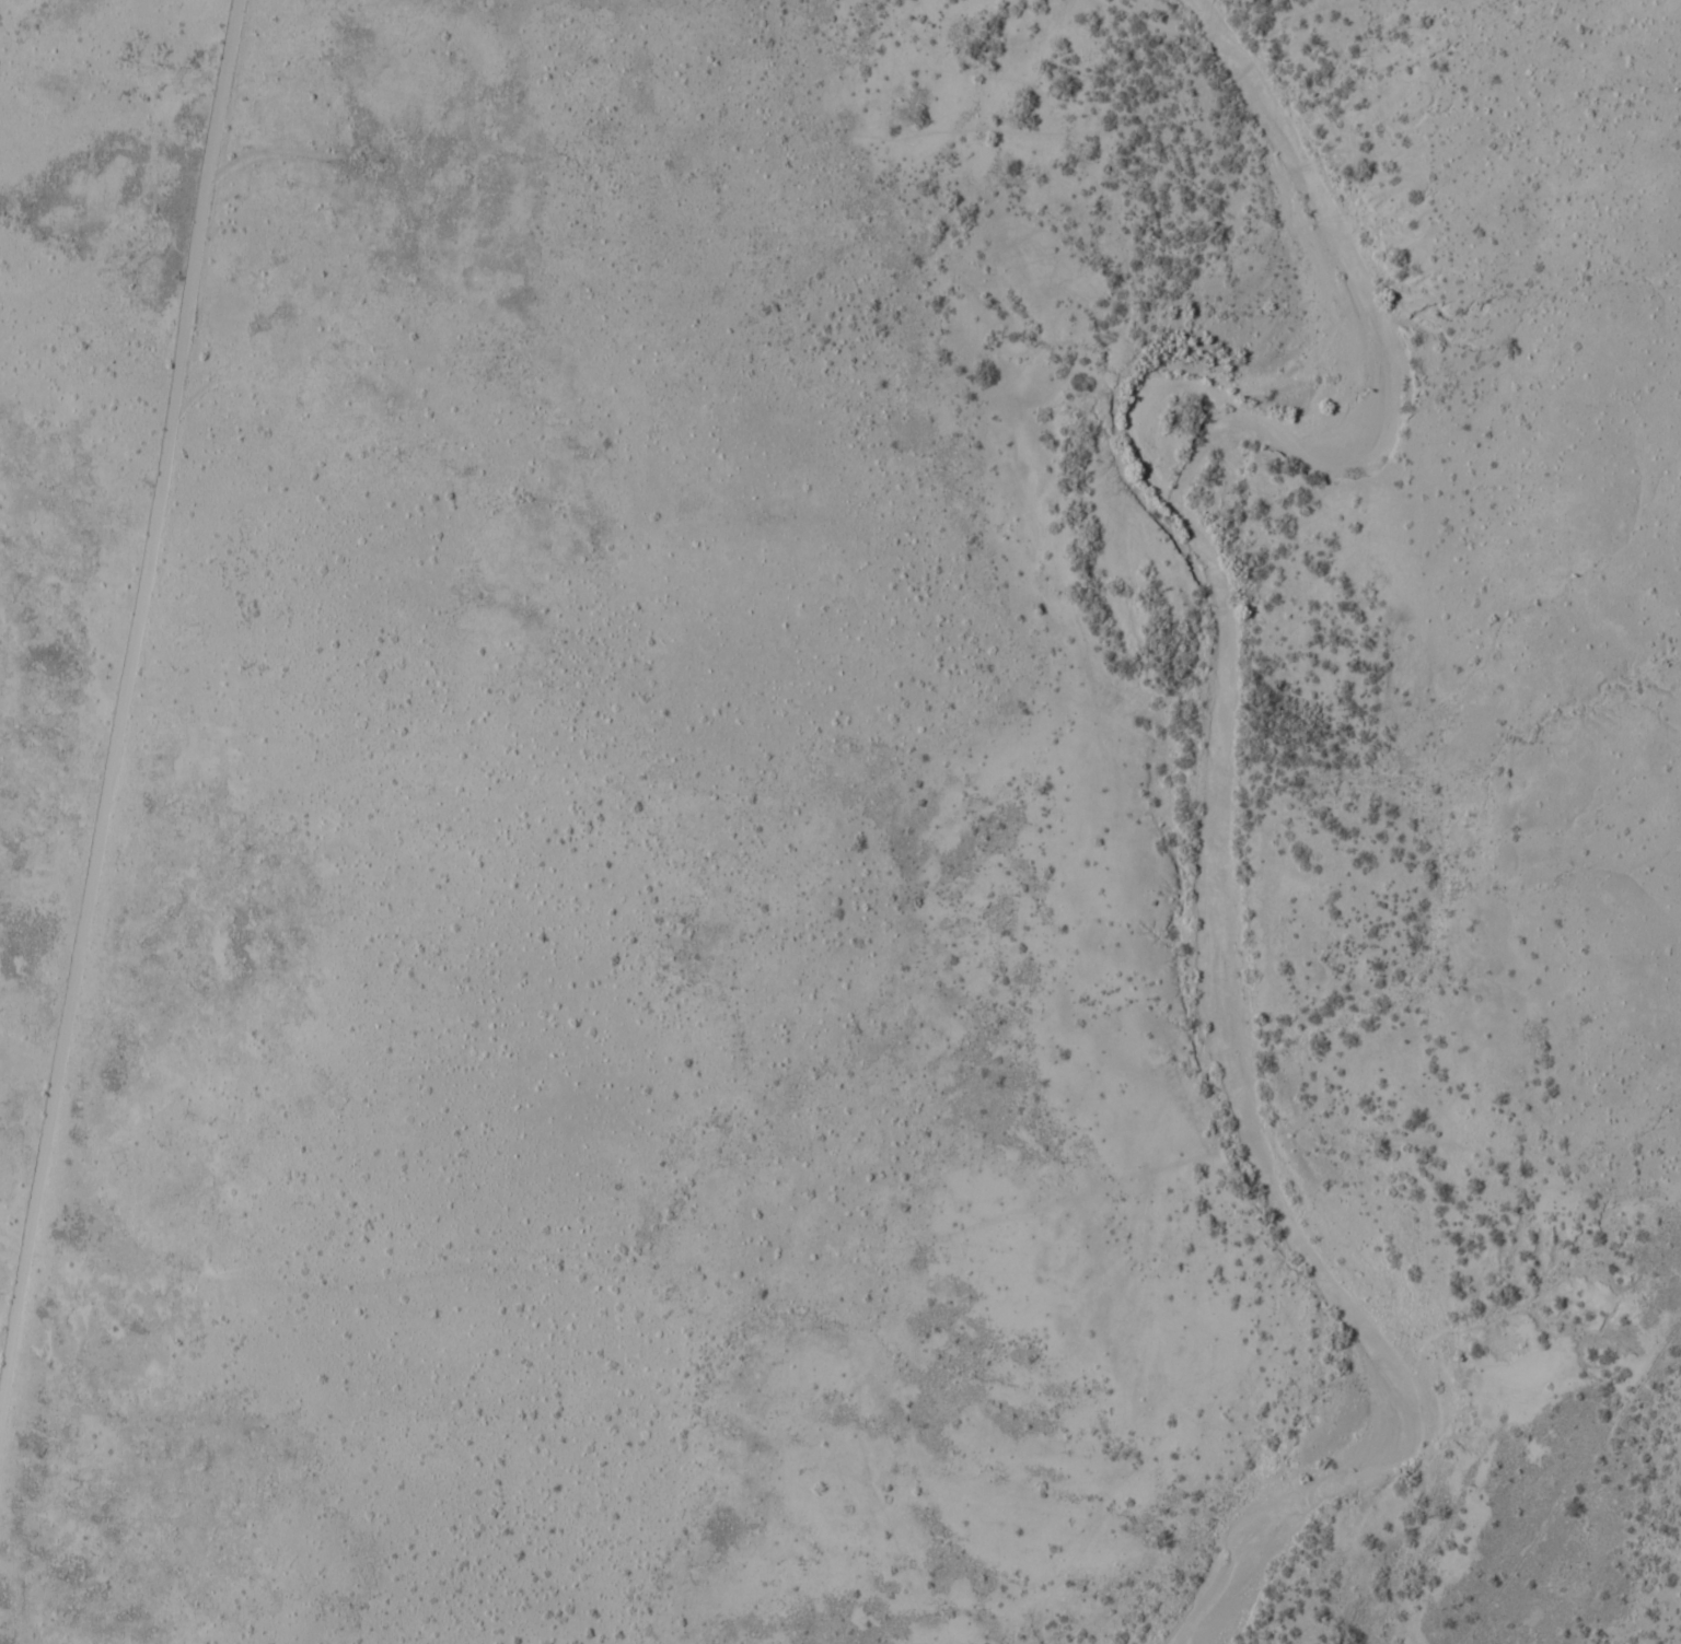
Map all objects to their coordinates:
road: (78, 538)

